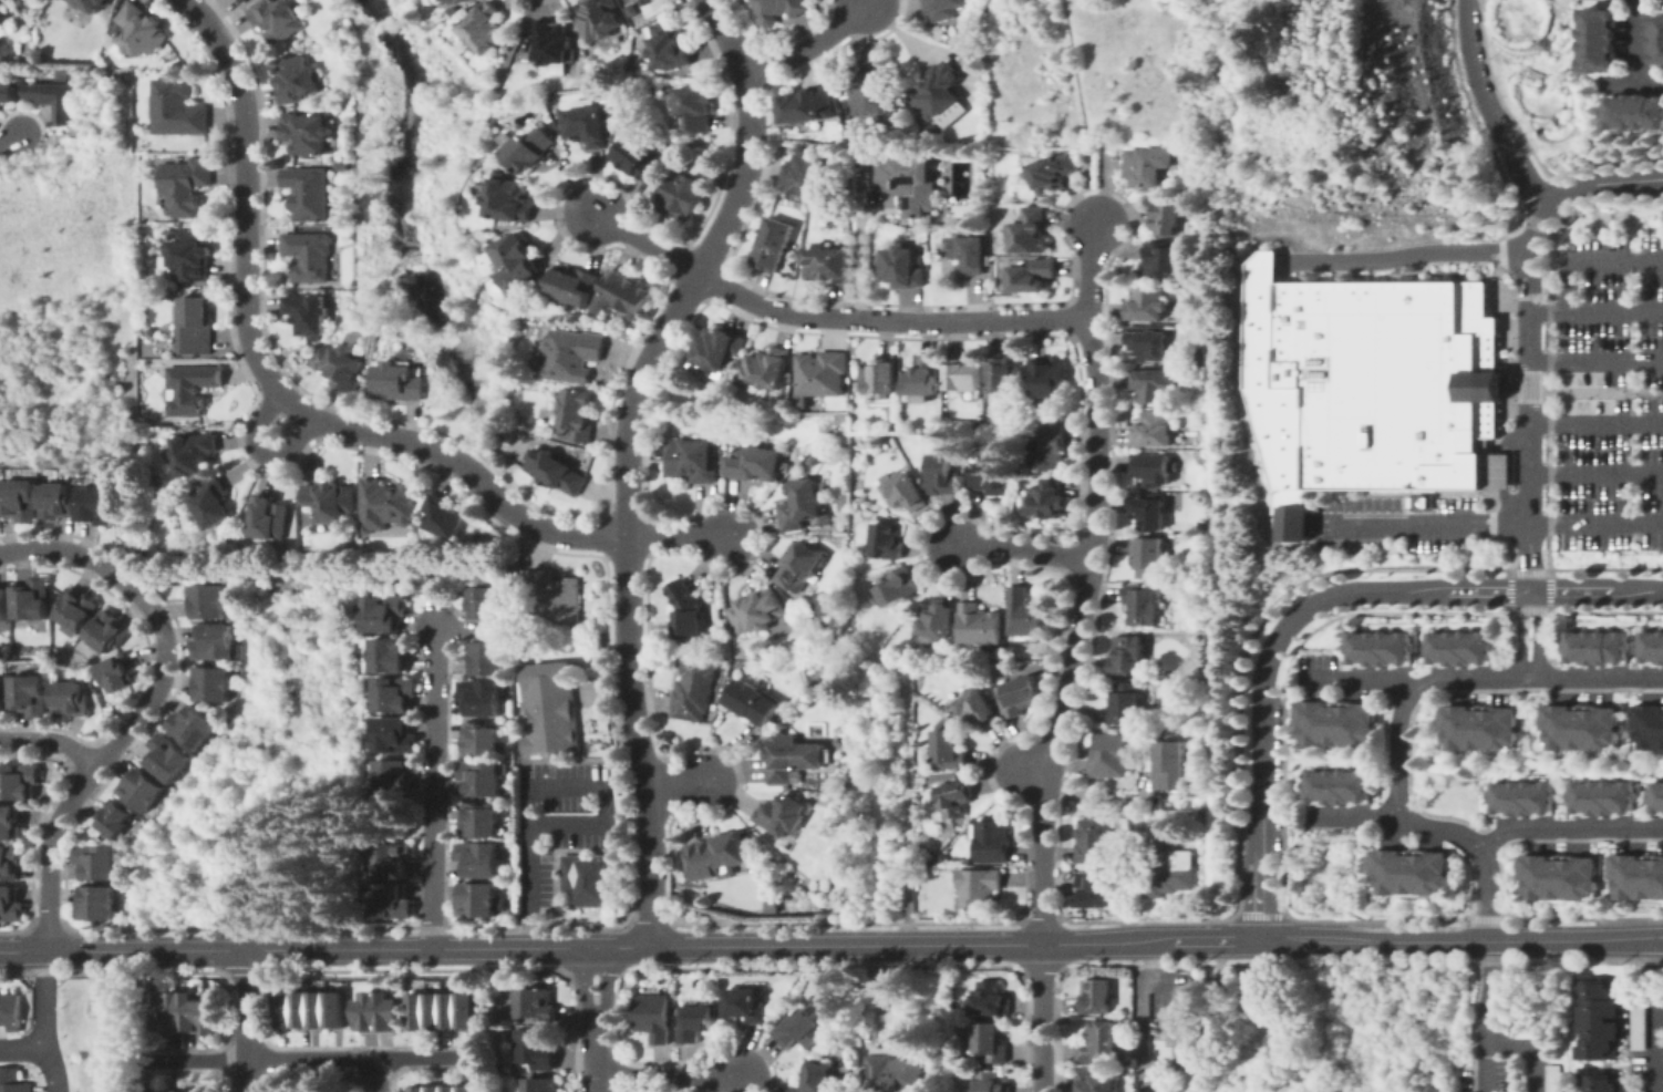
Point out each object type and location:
building: (239, 0)
building: (245, 1)
building: (450, 1)
building: (464, 1)
building: (92, 4)
building: (943, 8)
building: (779, 9)
building: (3, 13)
building: (278, 19)
building: (599, 19)
building: (485, 28)
building: (141, 31)
building: (1600, 40)
building: (1657, 40)
building: (551, 42)
road: (813, 45)
building: (671, 47)
road: (1638, 54)
park: (1536, 63)
building: (297, 80)
road: (1619, 84)
building: (938, 90)
building: (8, 92)
building: (871, 93)
building: (53, 100)
building: (808, 105)
building: (696, 106)
building: (177, 110)
road: (1490, 110)
building: (610, 112)
road: (1082, 112)
building: (1635, 112)
building: (848, 122)
building: (588, 125)
building: (932, 130)
building: (307, 133)
road: (11, 138)
building: (856, 143)
building: (529, 150)
building: (936, 150)
building: (639, 158)
building: (1149, 165)
building: (1054, 172)
building: (806, 174)
building: (905, 179)
building: (185, 185)
road: (1577, 188)
building: (309, 193)
building: (682, 195)
building: (507, 199)
building: (1171, 218)
building: (1033, 231)
road: (649, 244)
building: (774, 244)
building: (969, 253)
building: (190, 256)
building: (310, 256)
building: (517, 257)
building: (1165, 258)
road: (1403, 258)
road: (1262, 261)
building: (827, 264)
road: (1573, 264)
building: (902, 267)
road: (1089, 272)
building: (1033, 275)
building: (574, 286)
building: (624, 293)
building: (1148, 303)
road: (1616, 310)
building: (308, 313)
road: (891, 320)
building: (196, 324)
building: (1150, 342)
building: (176, 347)
building: (720, 349)
building: (572, 356)
road: (1597, 361)
building: (342, 367)
building: (768, 367)
building: (964, 373)
building: (820, 374)
building: (1047, 374)
building: (740, 377)
building: (881, 377)
building: (922, 377)
building: (1004, 377)
building: (397, 382)
road: (270, 383)
building: (1154, 384)
building: (1373, 385)
building: (192, 388)
parking lot: (1612, 394)
road: (1242, 399)
building: (577, 414)
road: (1530, 422)
road: (1597, 423)
building: (534, 427)
building: (1155, 429)
building: (1192, 439)
building: (1047, 446)
building: (194, 454)
road: (261, 455)
road: (630, 455)
building: (692, 460)
building: (755, 464)
building: (1154, 467)
building: (557, 472)
road: (1597, 474)
building: (942, 475)
building: (994, 477)
building: (905, 492)
building: (1047, 498)
building: (20, 501)
building: (331, 501)
building: (56, 502)
building: (213, 503)
building: (96, 505)
building: (388, 505)
building: (803, 506)
building: (1148, 512)
building: (444, 517)
building: (270, 518)
parking lot: (1405, 522)
road: (1294, 525)
road: (1422, 525)
road: (1598, 525)
road: (681, 536)
building: (887, 540)
road: (1021, 552)
building: (1148, 556)
building: (800, 565)
building: (899, 586)
road: (1598, 590)
building: (554, 596)
road: (1531, 597)
building: (31, 599)
building: (208, 601)
building: (484, 604)
building: (1142, 604)
building: (3, 605)
building: (75, 609)
building: (758, 610)
building: (688, 611)
building: (1025, 611)
building: (383, 614)
building: (938, 620)
building: (980, 625)
building: (106, 632)
road: (453, 632)
road: (1077, 632)
building: (214, 642)
building: (1460, 648)
building: (1597, 648)
building: (1652, 648)
building: (1381, 649)
building: (389, 653)
road: (1270, 653)
building: (1127, 655)
building: (489, 659)
building: (993, 668)
road: (1530, 669)
building: (115, 674)
road: (1530, 674)
road: (1359, 678)
building: (978, 679)
building: (818, 682)
road: (1429, 682)
building: (213, 684)
building: (695, 689)
building: (394, 693)
building: (2, 694)
building: (31, 696)
building: (1020, 696)
building: (482, 698)
building: (70, 699)
building: (753, 701)
building: (1127, 702)
road: (147, 708)
building: (551, 708)
building: (978, 708)
building: (1339, 724)
building: (1650, 725)
building: (192, 728)
building: (1483, 729)
building: (1583, 729)
building: (393, 735)
building: (481, 740)
road: (51, 741)
building: (950, 749)
building: (1111, 756)
building: (167, 758)
building: (787, 758)
building: (1169, 765)
road: (1032, 771)
road: (434, 775)
building: (392, 776)
building: (481, 777)
building: (18, 781)
road: (680, 786)
building: (1339, 786)
building: (142, 789)
road: (541, 789)
building: (1656, 797)
building: (956, 799)
building: (1522, 799)
building: (1602, 799)
building: (782, 815)
building: (1186, 816)
road: (1354, 816)
building: (1201, 817)
building: (115, 818)
building: (478, 821)
road: (1285, 822)
building: (9, 823)
road: (1568, 828)
building: (992, 839)
building: (1095, 841)
building: (724, 849)
building: (478, 857)
building: (390, 861)
building: (99, 862)
building: (9, 863)
building: (1170, 865)
building: (1413, 873)
building: (1560, 878)
building: (1638, 878)
building: (588, 880)
building: (979, 886)
building: (1094, 889)
road: (1489, 894)
building: (478, 900)
building: (390, 902)
building: (96, 903)
building: (10, 905)
road: (832, 945)
building: (1252, 993)
building: (1097, 996)
building: (991, 999)
building: (535, 1003)
building: (746, 1006)
building: (317, 1008)
building: (334, 1008)
building: (285, 1009)
building: (301, 1009)
building: (450, 1009)
building: (466, 1009)
building: (9, 1010)
building: (416, 1010)
building: (434, 1010)
building: (365, 1011)
building: (386, 1011)
road: (1143, 1011)
building: (169, 1012)
building: (189, 1012)
building: (211, 1012)
road: (1486, 1016)
road: (1656, 1016)
building: (654, 1017)
road: (1042, 1018)
road: (595, 1019)
building: (1184, 1019)
building: (1599, 1020)
road: (248, 1021)
building: (696, 1021)
road: (47, 1022)
building: (1639, 1029)
building: (800, 1030)
building: (992, 1041)
building: (1098, 1042)
building: (536, 1049)
road: (23, 1050)
road: (1528, 1050)
road: (1660, 1054)
road: (313, 1060)
building: (891, 1074)
road: (373, 1075)
road: (670, 1078)
building: (815, 1078)
building: (1554, 1079)
building: (11, 1081)
building: (991, 1081)
building: (1094, 1081)
building: (1602, 1083)
building: (540, 1085)
building: (417, 1088)
building: (434, 1088)
building: (451, 1088)
building: (467, 1088)
building: (1150, 1089)
building: (1437, 1089)
building: (158, 1091)
building: (187, 1091)
building: (200, 1091)
building: (1635, 1091)

